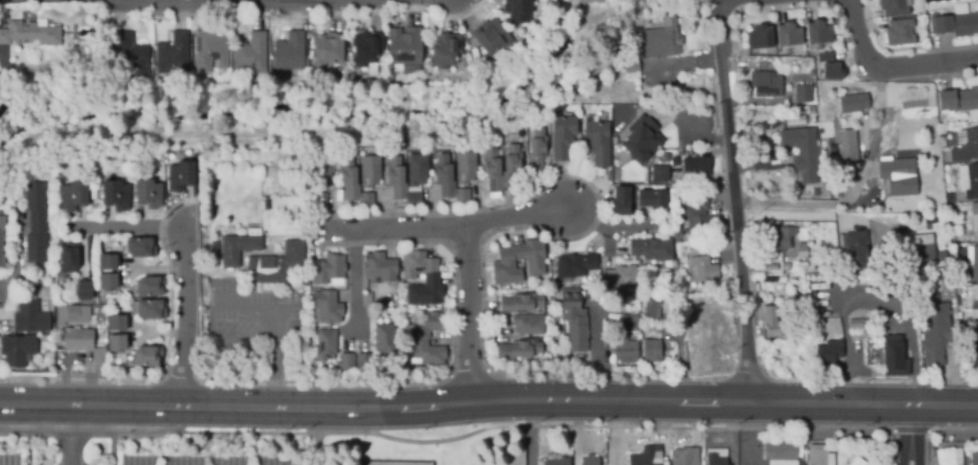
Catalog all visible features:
road: (723, 0)
building: (589, 1)
building: (892, 7)
building: (516, 10)
building: (955, 22)
building: (817, 32)
building: (898, 32)
building: (30, 33)
building: (787, 34)
building: (490, 36)
building: (758, 36)
building: (660, 38)
building: (403, 46)
building: (366, 47)
building: (325, 49)
building: (444, 49)
building: (208, 51)
building: (288, 51)
building: (171, 53)
building: (250, 53)
building: (129, 54)
building: (823, 56)
road: (889, 67)
building: (831, 70)
building: (630, 71)
building: (764, 84)
building: (802, 93)
building: (959, 101)
building: (853, 103)
building: (561, 137)
building: (640, 138)
building: (596, 141)
building: (846, 145)
building: (965, 145)
building: (536, 149)
building: (801, 151)
building: (673, 161)
building: (464, 166)
building: (695, 167)
building: (490, 168)
building: (319, 170)
building: (368, 171)
building: (658, 174)
building: (896, 174)
building: (179, 175)
building: (269, 177)
building: (968, 180)
building: (415, 181)
building: (448, 181)
building: (351, 184)
building: (147, 193)
building: (113, 194)
building: (72, 195)
building: (948, 197)
building: (650, 199)
building: (317, 201)
building: (618, 201)
road: (733, 201)
building: (267, 202)
road: (822, 203)
building: (695, 210)
building: (973, 215)
building: (34, 222)
road: (124, 229)
road: (451, 232)
building: (1, 236)
building: (781, 239)
building: (138, 247)
building: (236, 247)
building: (650, 248)
building: (920, 248)
building: (214, 249)
building: (801, 250)
building: (855, 251)
building: (66, 258)
building: (105, 261)
building: (274, 263)
building: (415, 263)
building: (974, 263)
building: (501, 264)
building: (573, 264)
building: (770, 266)
building: (784, 266)
building: (378, 267)
building: (701, 268)
building: (327, 269)
building: (617, 279)
building: (769, 279)
building: (106, 280)
building: (202, 280)
building: (148, 285)
road: (355, 285)
building: (82, 290)
building: (424, 291)
building: (687, 291)
building: (380, 300)
building: (518, 301)
building: (977, 303)
building: (649, 306)
building: (325, 307)
building: (148, 309)
building: (72, 316)
road: (185, 316)
building: (28, 317)
road: (466, 317)
building: (572, 319)
building: (100, 320)
building: (819, 320)
building: (627, 322)
building: (115, 323)
building: (526, 323)
building: (855, 323)
building: (426, 324)
building: (773, 324)
building: (933, 333)
building: (76, 339)
building: (383, 339)
building: (115, 342)
building: (324, 344)
building: (517, 348)
building: (16, 349)
building: (650, 349)
building: (624, 350)
building: (425, 352)
building: (975, 352)
road: (597, 353)
building: (825, 353)
building: (98, 354)
building: (145, 355)
building: (892, 356)
road: (76, 359)
road: (274, 359)
building: (362, 359)
building: (345, 360)
road: (488, 401)
road: (611, 427)
road: (910, 433)
road: (69, 434)
road: (28, 449)
road: (113, 450)
park: (256, 450)
road: (317, 450)
building: (779, 452)
building: (815, 454)
building: (646, 457)
building: (685, 457)
building: (946, 457)
building: (973, 458)
parking lot: (9, 459)
parking lot: (203, 460)
building: (714, 460)
building: (588, 461)
building: (556, 462)
building: (855, 462)

